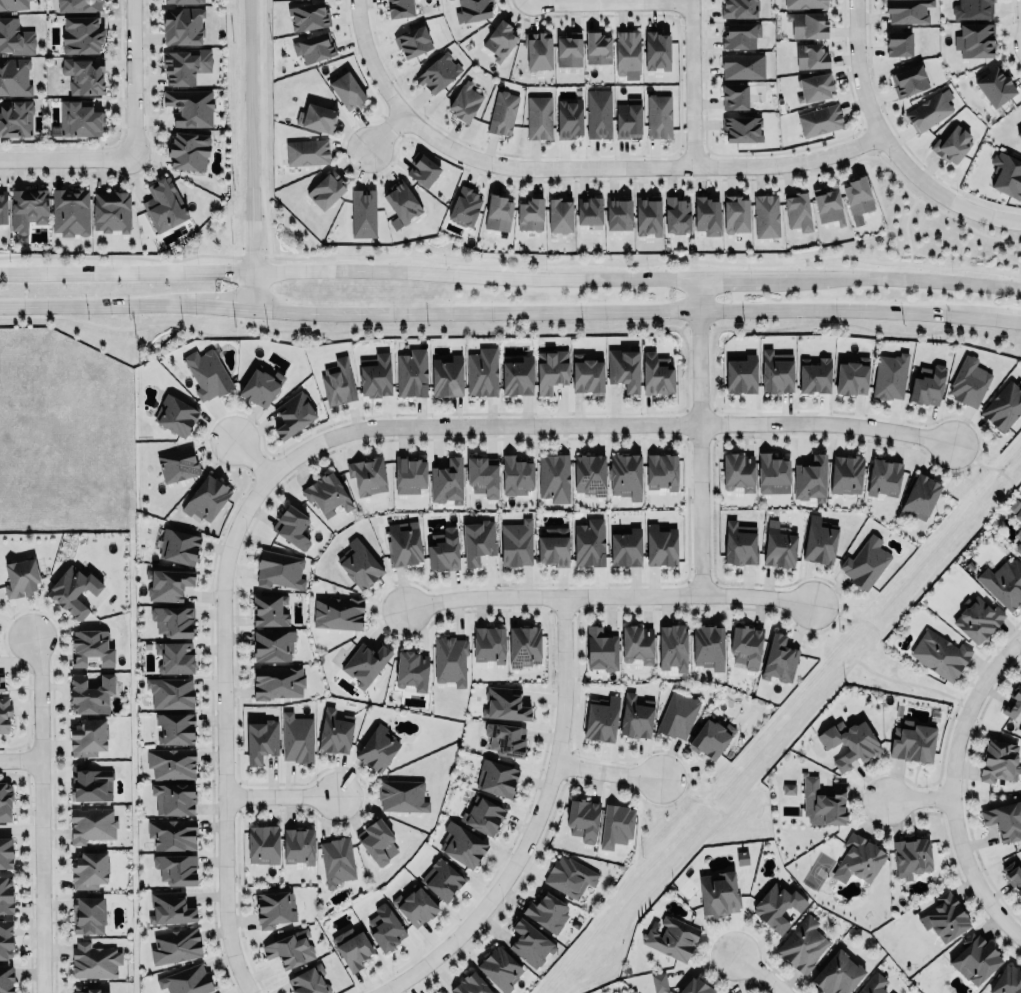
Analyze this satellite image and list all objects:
building: (186, 1)
road: (605, 1)
building: (806, 3)
building: (13, 4)
building: (81, 5)
building: (400, 8)
building: (739, 9)
building: (973, 9)
building: (473, 10)
building: (908, 11)
building: (308, 16)
building: (184, 25)
building: (808, 25)
building: (741, 34)
building: (82, 35)
building: (16, 37)
building: (500, 41)
building: (975, 41)
building: (413, 42)
building: (899, 44)
building: (315, 48)
building: (597, 48)
building: (568, 50)
building: (657, 51)
building: (539, 53)
building: (627, 54)
building: (812, 56)
road: (368, 58)
building: (742, 65)
building: (185, 66)
building: (438, 73)
building: (84, 75)
building: (15, 77)
road: (129, 79)
building: (910, 81)
road: (694, 82)
building: (995, 82)
building: (815, 87)
building: (347, 92)
building: (734, 97)
building: (465, 102)
building: (189, 107)
building: (931, 110)
building: (503, 113)
building: (599, 113)
building: (659, 116)
building: (540, 117)
building: (16, 118)
building: (79, 118)
building: (317, 118)
building: (570, 118)
building: (628, 119)
building: (820, 120)
road: (382, 127)
building: (743, 128)
building: (1019, 134)
building: (953, 145)
road: (887, 147)
building: (189, 151)
building: (307, 152)
road: (249, 154)
road: (64, 158)
road: (632, 165)
building: (421, 168)
building: (1006, 171)
building: (326, 190)
building: (857, 196)
building: (401, 201)
building: (828, 205)
building: (164, 206)
building: (3, 207)
building: (465, 207)
building: (28, 209)
building: (797, 209)
building: (589, 210)
building: (112, 211)
building: (70, 212)
building: (363, 212)
building: (498, 213)
building: (559, 213)
building: (530, 214)
building: (618, 214)
building: (676, 214)
building: (735, 214)
building: (766, 214)
building: (647, 215)
building: (707, 216)
road: (906, 227)
road: (510, 276)
road: (510, 310)
building: (551, 368)
building: (624, 368)
building: (411, 371)
building: (481, 371)
building: (656, 372)
building: (741, 372)
building: (776, 372)
building: (586, 373)
building: (207, 374)
building: (815, 374)
building: (375, 375)
building: (446, 375)
building: (889, 375)
building: (517, 376)
building: (852, 377)
building: (337, 380)
building: (969, 380)
building: (926, 383)
building: (259, 386)
building: (1004, 406)
building: (174, 413)
building: (293, 415)
road: (603, 424)
road: (697, 435)
road: (251, 456)
building: (177, 463)
building: (662, 470)
building: (738, 471)
building: (409, 473)
building: (589, 473)
building: (847, 473)
building: (772, 474)
building: (625, 475)
building: (367, 476)
building: (516, 476)
building: (482, 477)
building: (554, 477)
building: (810, 477)
building: (883, 477)
building: (447, 480)
building: (326, 494)
building: (920, 495)
building: (206, 498)
building: (1016, 510)
building: (291, 525)
building: (477, 541)
building: (819, 541)
building: (402, 543)
building: (516, 543)
building: (589, 543)
building: (179, 544)
building: (740, 544)
building: (553, 545)
building: (660, 545)
building: (1018, 545)
building: (626, 547)
building: (779, 548)
building: (443, 549)
building: (865, 561)
building: (359, 563)
building: (278, 568)
building: (21, 578)
building: (1003, 582)
building: (166, 583)
building: (72, 588)
road: (602, 595)
building: (269, 610)
building: (338, 612)
building: (976, 618)
building: (173, 620)
building: (488, 643)
building: (637, 644)
building: (746, 644)
building: (91, 645)
building: (273, 645)
building: (708, 645)
building: (524, 646)
building: (672, 646)
building: (601, 649)
building: (940, 653)
building: (174, 655)
building: (779, 658)
building: (449, 659)
building: (365, 662)
building: (412, 669)
road: (906, 680)
building: (277, 681)
building: (1, 682)
road: (972, 690)
building: (89, 692)
building: (170, 692)
building: (1014, 697)
building: (504, 702)
building: (4, 714)
building: (677, 714)
building: (601, 717)
building: (636, 717)
building: (174, 727)
road: (223, 730)
building: (334, 730)
building: (1020, 730)
building: (1020, 731)
road: (791, 733)
building: (87, 736)
building: (297, 736)
building: (710, 737)
building: (505, 738)
building: (261, 739)
building: (849, 741)
building: (912, 742)
building: (377, 747)
road: (20, 759)
building: (999, 760)
building: (171, 763)
road: (608, 768)
building: (496, 777)
building: (90, 782)
building: (788, 788)
road: (276, 794)
building: (401, 794)
building: (173, 797)
road: (916, 799)
building: (5, 801)
building: (824, 802)
building: (482, 813)
road: (41, 815)
building: (582, 817)
building: (1003, 818)
building: (91, 823)
road: (534, 824)
building: (616, 826)
building: (171, 833)
building: (375, 839)
building: (262, 843)
building: (461, 843)
building: (298, 844)
building: (5, 853)
building: (911, 856)
building: (860, 858)
road: (962, 858)
building: (336, 859)
building: (175, 868)
building: (88, 869)
building: (569, 876)
building: (1013, 876)
building: (442, 877)
building: (718, 893)
building: (5, 894)
building: (415, 904)
building: (778, 906)
building: (169, 907)
building: (274, 907)
building: (547, 911)
building: (87, 915)
building: (944, 916)
building: (384, 927)
road: (720, 929)
building: (671, 937)
building: (5, 938)
building: (529, 942)
building: (802, 944)
building: (175, 946)
building: (352, 947)
building: (290, 949)
building: (975, 957)
building: (94, 960)
building: (499, 968)
building: (838, 973)
road: (760, 974)
building: (5, 979)
building: (186, 980)
building: (308, 981)
building: (1007, 981)
building: (659, 982)
building: (470, 984)
building: (873, 984)
building: (695, 986)
building: (90, 990)
building: (443, 992)
building: (446, 992)
building: (892, 992)

